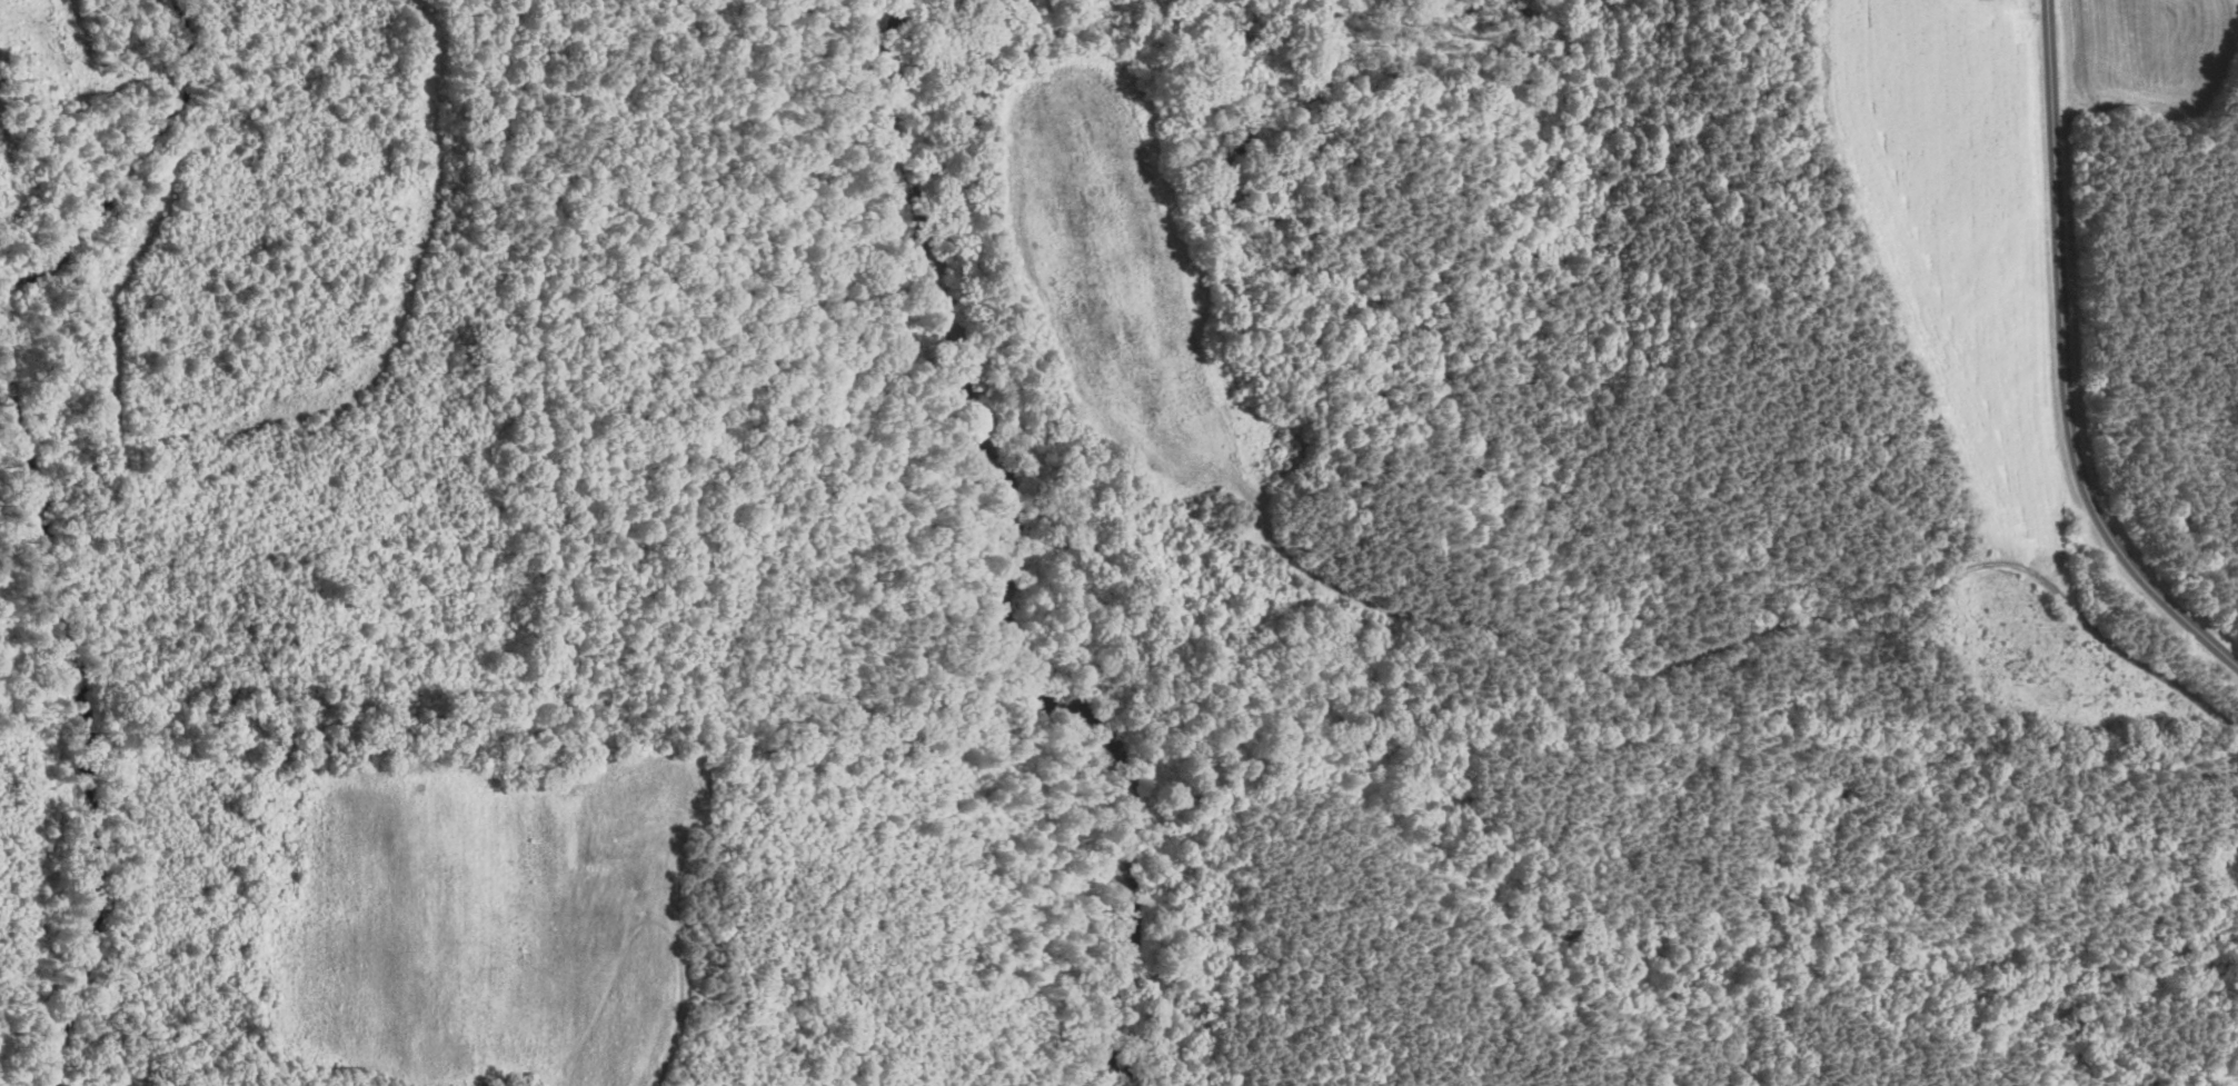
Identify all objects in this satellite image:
road: (2068, 359)

